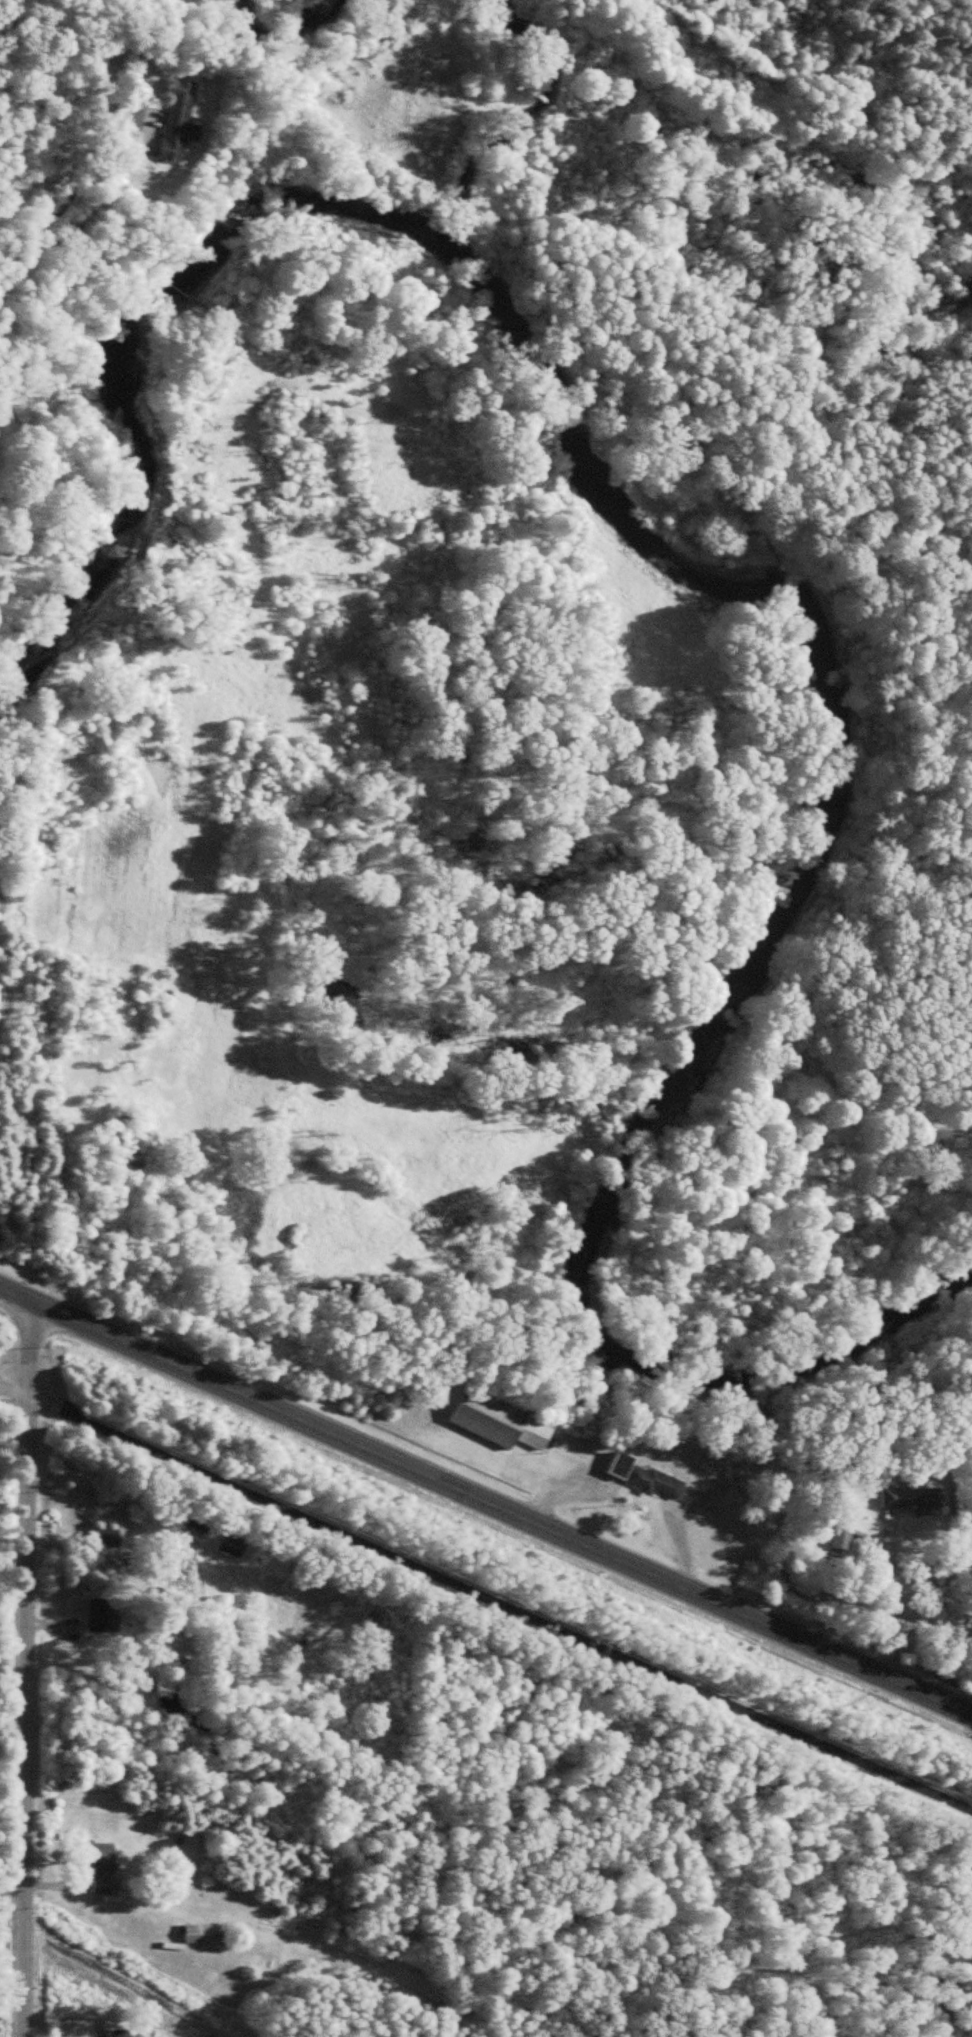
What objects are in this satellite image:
building: (187, 123)
river: (768, 550)
building: (509, 1421)
building: (645, 1477)
road: (486, 1500)
building: (916, 1500)
building: (202, 1526)
building: (845, 1538)
building: (106, 1539)
building: (234, 1548)
road: (488, 1591)
building: (105, 1616)
road: (26, 1669)
building: (104, 1870)
building: (202, 1936)
building: (123, 2034)

